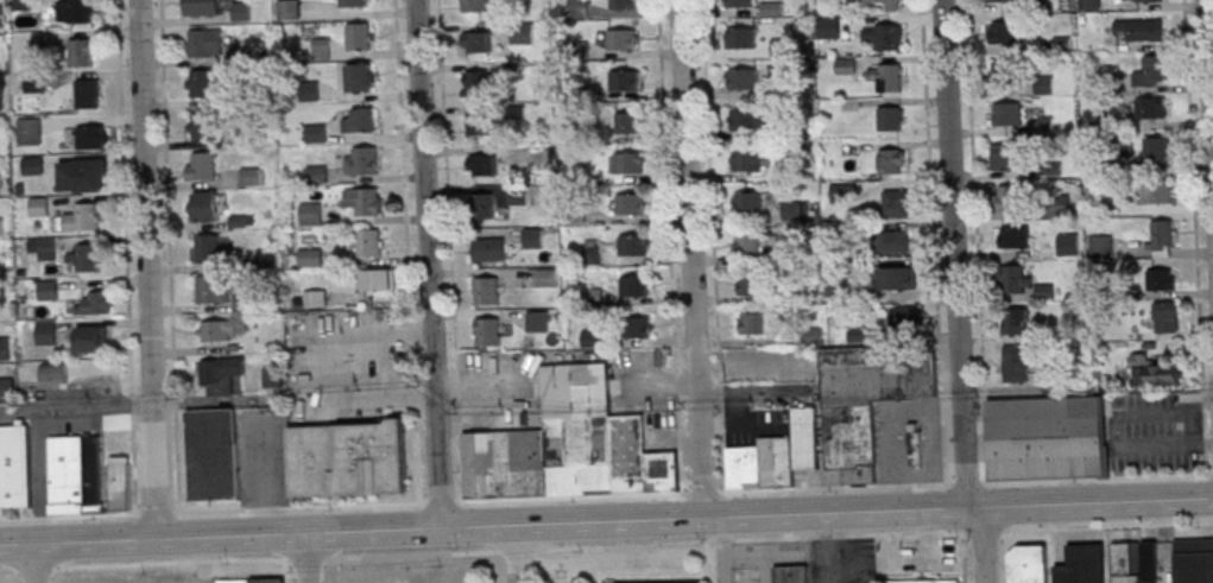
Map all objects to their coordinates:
building: (1143, 0)
building: (1002, 1)
building: (354, 2)
building: (739, 2)
building: (624, 4)
building: (1089, 4)
building: (476, 5)
building: (887, 5)
building: (203, 8)
building: (579, 8)
building: (288, 9)
building: (75, 11)
building: (241, 12)
building: (1142, 30)
building: (1004, 32)
building: (523, 33)
building: (360, 36)
building: (743, 38)
building: (883, 38)
building: (623, 39)
building: (478, 42)
building: (206, 44)
building: (782, 47)
building: (82, 52)
road: (1209, 62)
building: (1151, 71)
building: (999, 74)
building: (886, 76)
building: (360, 77)
building: (625, 80)
building: (744, 80)
building: (36, 83)
building: (475, 83)
building: (202, 84)
building: (1043, 84)
building: (88, 93)
building: (1151, 108)
building: (1006, 114)
building: (890, 118)
building: (360, 120)
building: (750, 120)
building: (628, 121)
building: (481, 125)
building: (203, 126)
building: (30, 131)
building: (316, 133)
building: (93, 137)
building: (1158, 151)
building: (1005, 156)
building: (361, 160)
building: (892, 160)
building: (746, 161)
building: (630, 163)
building: (32, 165)
building: (484, 165)
building: (202, 167)
building: (90, 175)
building: (0, 185)
building: (1157, 192)
building: (518, 195)
building: (1007, 197)
building: (364, 201)
building: (896, 203)
building: (630, 204)
building: (750, 204)
building: (39, 205)
building: (484, 205)
building: (203, 208)
building: (791, 211)
building: (311, 214)
building: (84, 217)
building: (1, 227)
building: (1013, 236)
building: (1163, 239)
building: (368, 242)
building: (893, 242)
building: (1101, 245)
building: (748, 246)
building: (633, 247)
building: (44, 248)
building: (206, 249)
building: (488, 251)
road: (956, 254)
building: (86, 256)
building: (310, 258)
road: (691, 260)
road: (430, 265)
road: (149, 270)
building: (1015, 278)
building: (379, 279)
building: (896, 279)
building: (1161, 279)
building: (751, 285)
building: (634, 287)
building: (49, 290)
building: (213, 290)
building: (486, 292)
building: (316, 298)
building: (95, 303)
building: (1165, 316)
building: (905, 318)
building: (1016, 321)
building: (751, 323)
building: (637, 328)
building: (215, 330)
building: (46, 332)
building: (488, 332)
building: (91, 338)
building: (5, 349)
building: (1016, 362)
road: (317, 368)
building: (1154, 370)
building: (55, 373)
building: (221, 375)
building: (272, 376)
building: (7, 388)
road: (752, 392)
building: (571, 393)
building: (864, 401)
road: (77, 406)
building: (118, 422)
road: (737, 425)
road: (1118, 426)
road: (1194, 426)
road: (891, 429)
building: (801, 439)
building: (1042, 439)
building: (916, 448)
building: (624, 455)
building: (209, 457)
building: (346, 461)
building: (772, 462)
building: (500, 467)
building: (15, 469)
building: (741, 469)
building: (658, 474)
building: (77, 475)
building: (125, 486)
road: (606, 494)
road: (606, 524)
road: (983, 546)
road: (606, 547)
road: (760, 550)
road: (722, 551)
road: (524, 555)
road: (1006, 556)
road: (309, 558)
road: (964, 558)
building: (1194, 560)
road: (39, 563)
building: (1086, 563)
building: (1123, 563)
building: (1149, 563)
building: (1028, 564)
building: (790, 574)
building: (1061, 574)
building: (254, 581)
building: (659, 581)
building: (925, 581)

